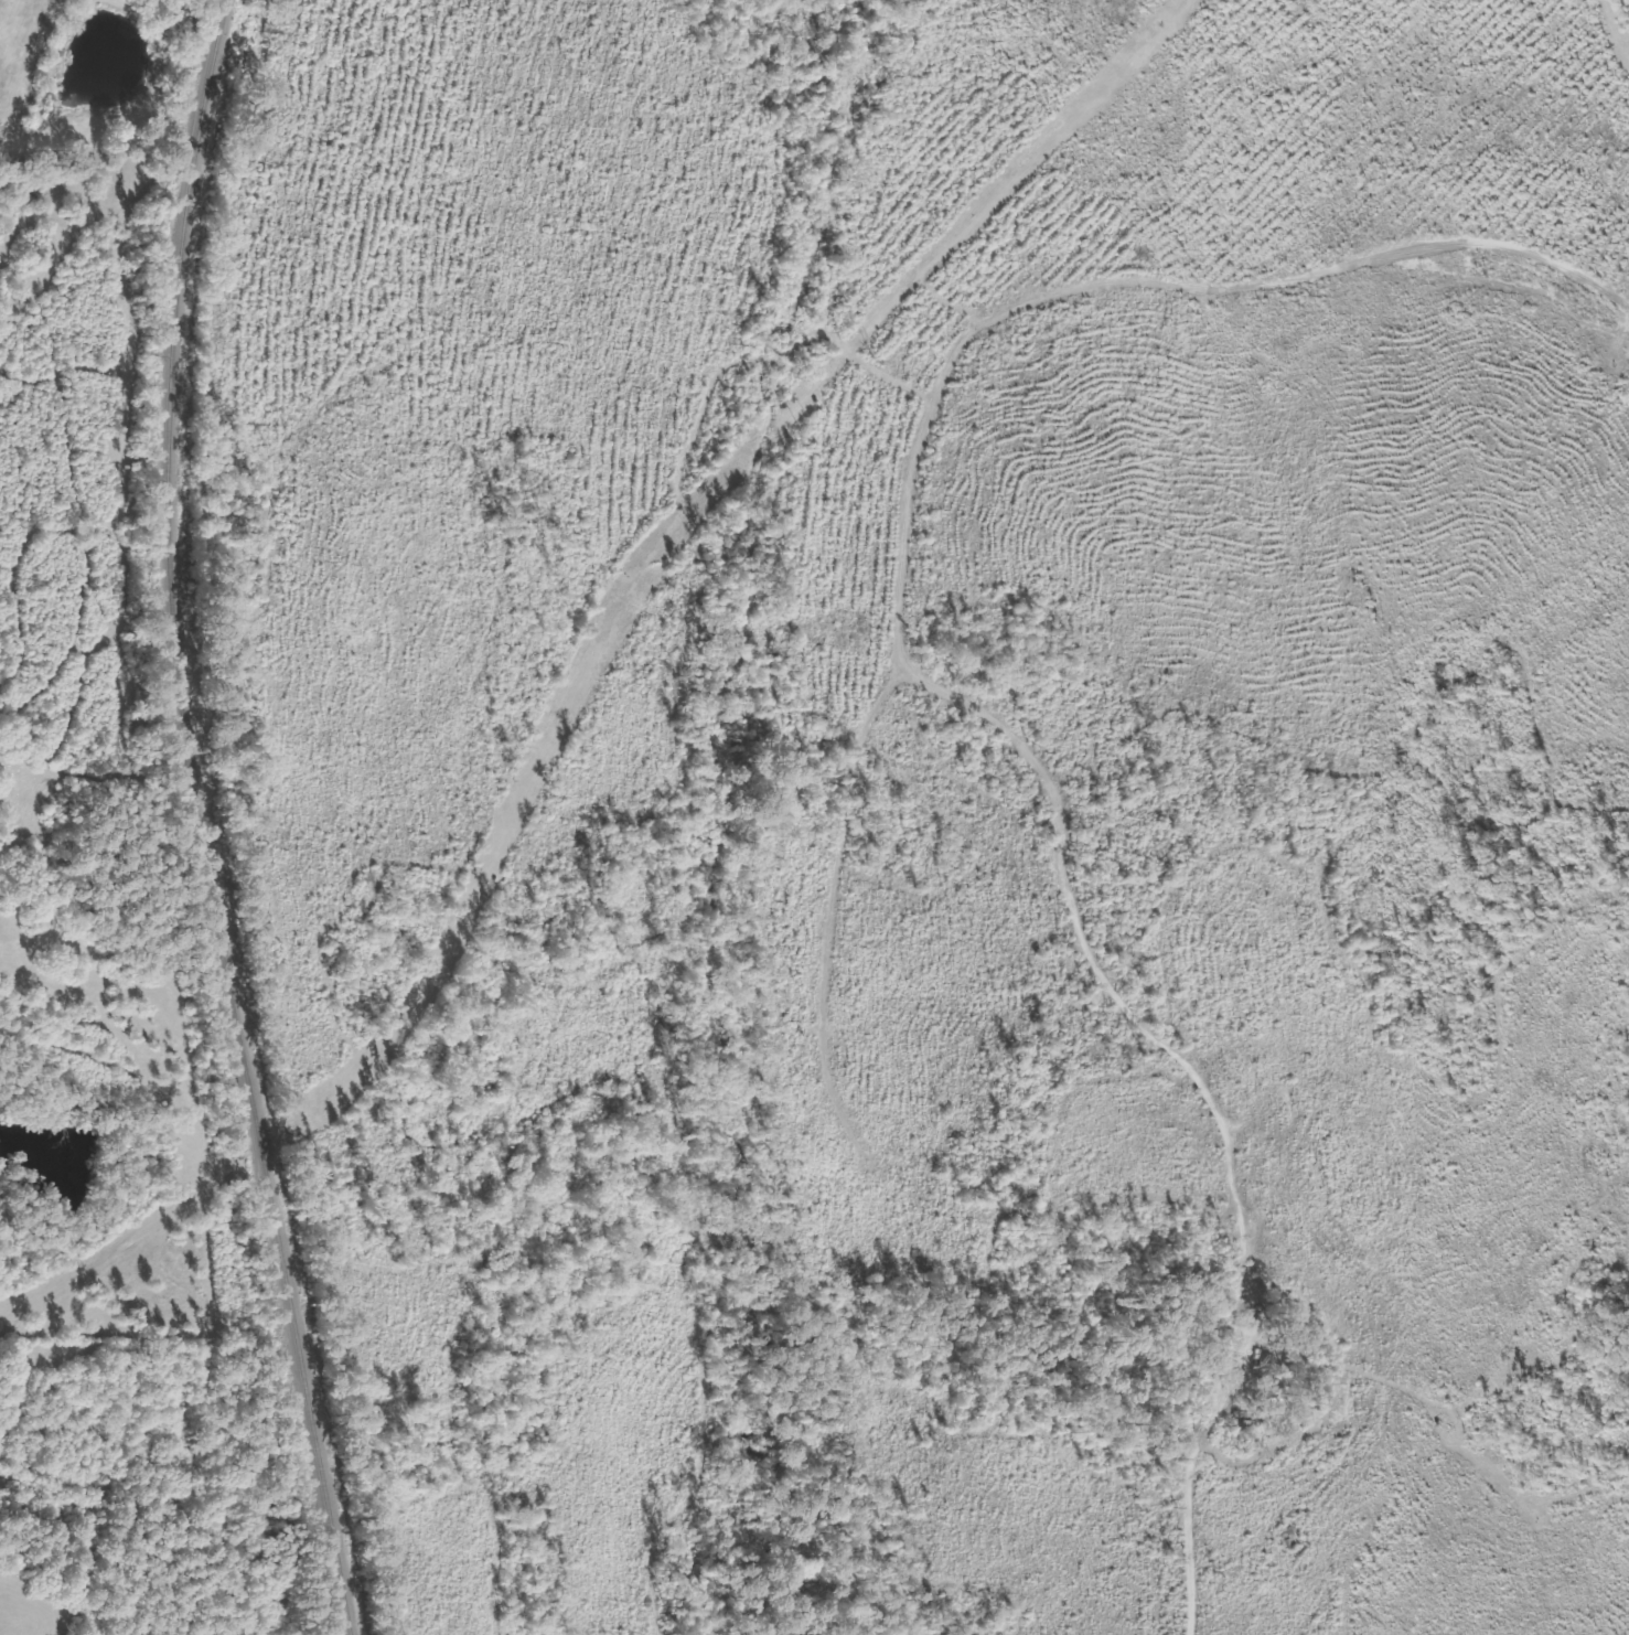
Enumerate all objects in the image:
railway: (207, 820)

